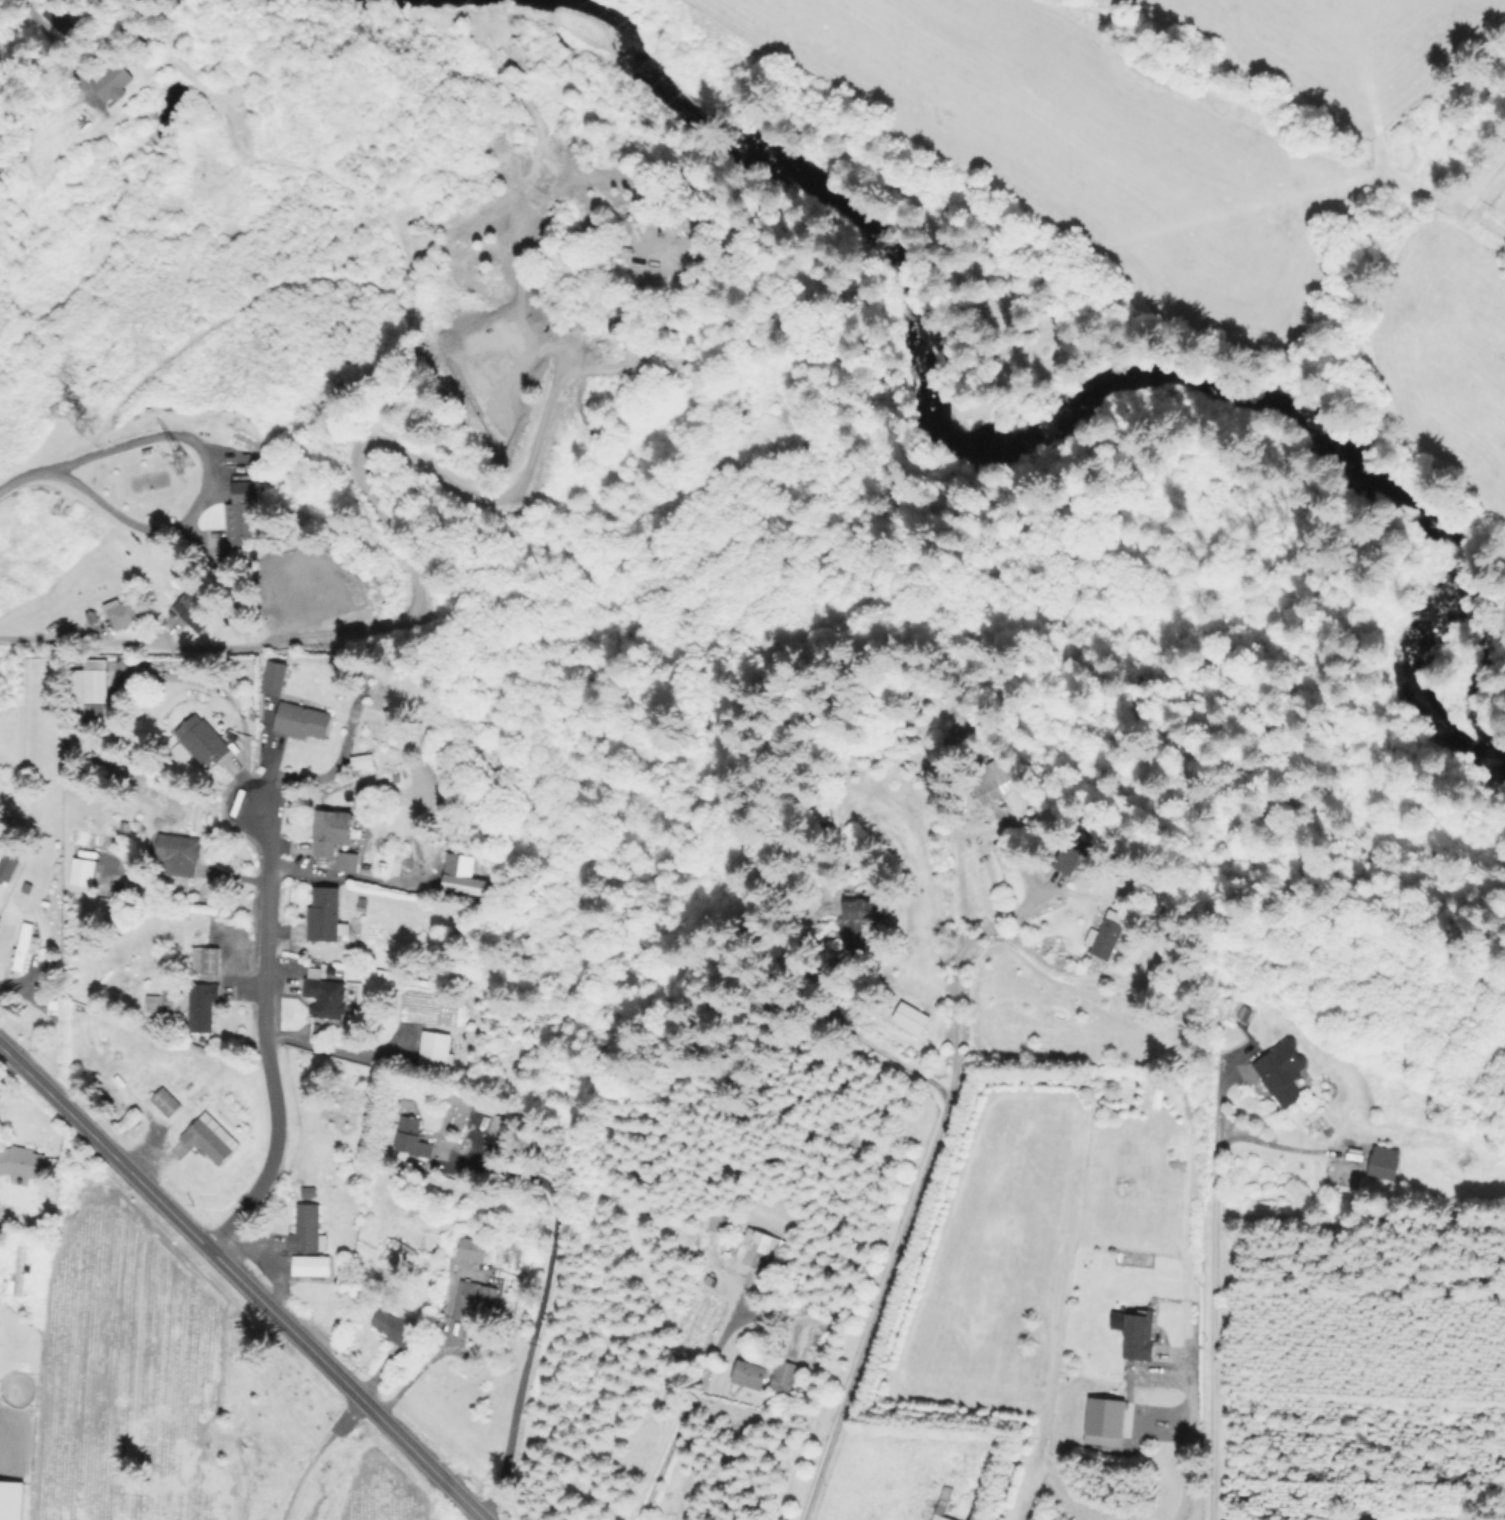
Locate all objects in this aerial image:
building: (60, 21)
road: (56, 62)
building: (113, 81)
building: (351, 87)
power tower: (84, 420)
road: (176, 431)
power tower: (191, 463)
road: (76, 486)
building: (244, 512)
building: (191, 612)
building: (122, 613)
building: (1418, 624)
road: (70, 643)
building: (276, 675)
building: (96, 682)
road: (229, 698)
building: (302, 720)
building: (203, 741)
building: (362, 759)
building: (1000, 777)
building: (412, 789)
building: (332, 826)
building: (182, 856)
building: (1079, 856)
building: (349, 862)
building: (9, 866)
building: (84, 872)
road: (344, 876)
building: (459, 876)
building: (27, 887)
building: (362, 900)
building: (326, 916)
building: (860, 917)
building: (1105, 938)
building: (26, 944)
road: (960, 954)
building: (207, 959)
building: (325, 994)
building: (200, 1006)
building: (1246, 1014)
building: (908, 1019)
road: (263, 1035)
road: (327, 1050)
building: (435, 1052)
road: (4, 1068)
building: (1282, 1071)
building: (165, 1101)
building: (497, 1131)
building: (412, 1137)
building: (211, 1139)
road: (1278, 1144)
building: (22, 1160)
building: (1385, 1163)
building: (308, 1191)
building: (720, 1222)
building: (711, 1223)
building: (306, 1230)
building: (470, 1247)
building: (758, 1249)
building: (397, 1254)
building: (310, 1265)
building: (17, 1273)
road: (243, 1283)
road: (1214, 1293)
building: (475, 1300)
road: (537, 1306)
road: (871, 1320)
building: (395, 1325)
building: (1139, 1334)
road: (419, 1373)
building: (749, 1375)
building: (783, 1377)
road: (689, 1401)
road: (1181, 1435)
building: (11, 1500)
building: (941, 1517)

